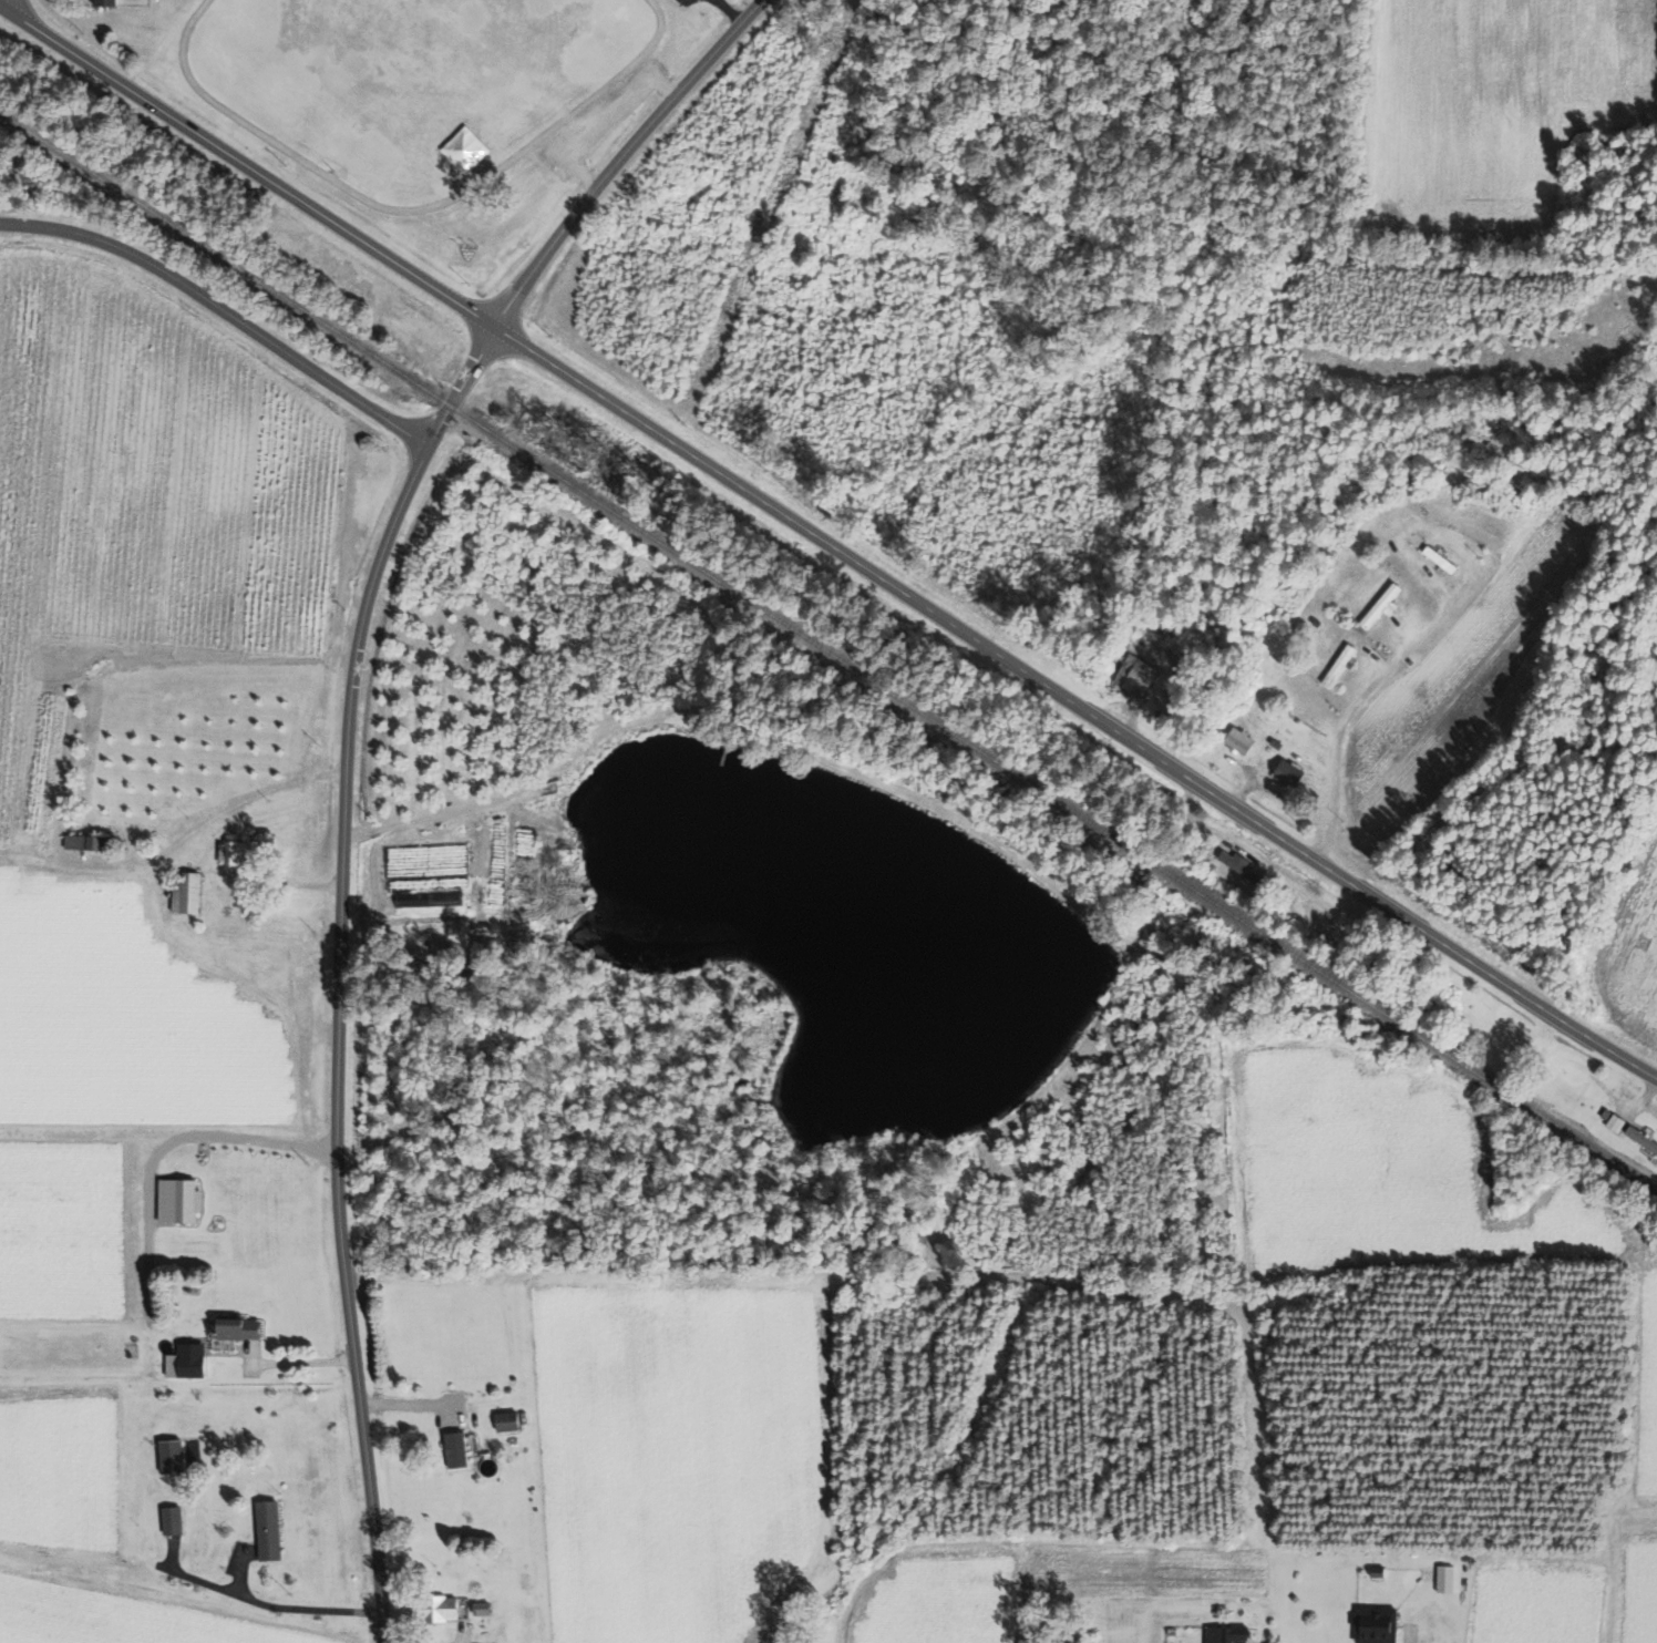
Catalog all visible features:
building: (100, 2)
road: (7, 4)
park: (408, 82)
road: (220, 309)
road: (826, 543)
building: (1377, 607)
railway: (827, 650)
building: (1336, 666)
building: (1132, 675)
road: (1350, 718)
building: (1235, 739)
pier: (724, 753)
road: (344, 757)
building: (1283, 770)
road: (425, 820)
building: (91, 842)
road: (182, 842)
building: (233, 852)
road: (89, 863)
building: (1235, 864)
building: (182, 892)
building: (1612, 1122)
road: (236, 1128)
crop: (1408, 1189)
building: (175, 1200)
building: (231, 1327)
building: (183, 1360)
building: (503, 1420)
building: (452, 1449)
building: (167, 1455)
building: (168, 1519)
building: (265, 1530)
road: (1610, 1560)
building: (1428, 1573)
crop: (1026, 1583)
crop: (1635, 1586)
crop: (1535, 1595)
road: (269, 1604)
building: (433, 1609)
building: (1375, 1625)
building: (1226, 1634)
road: (1409, 1636)

